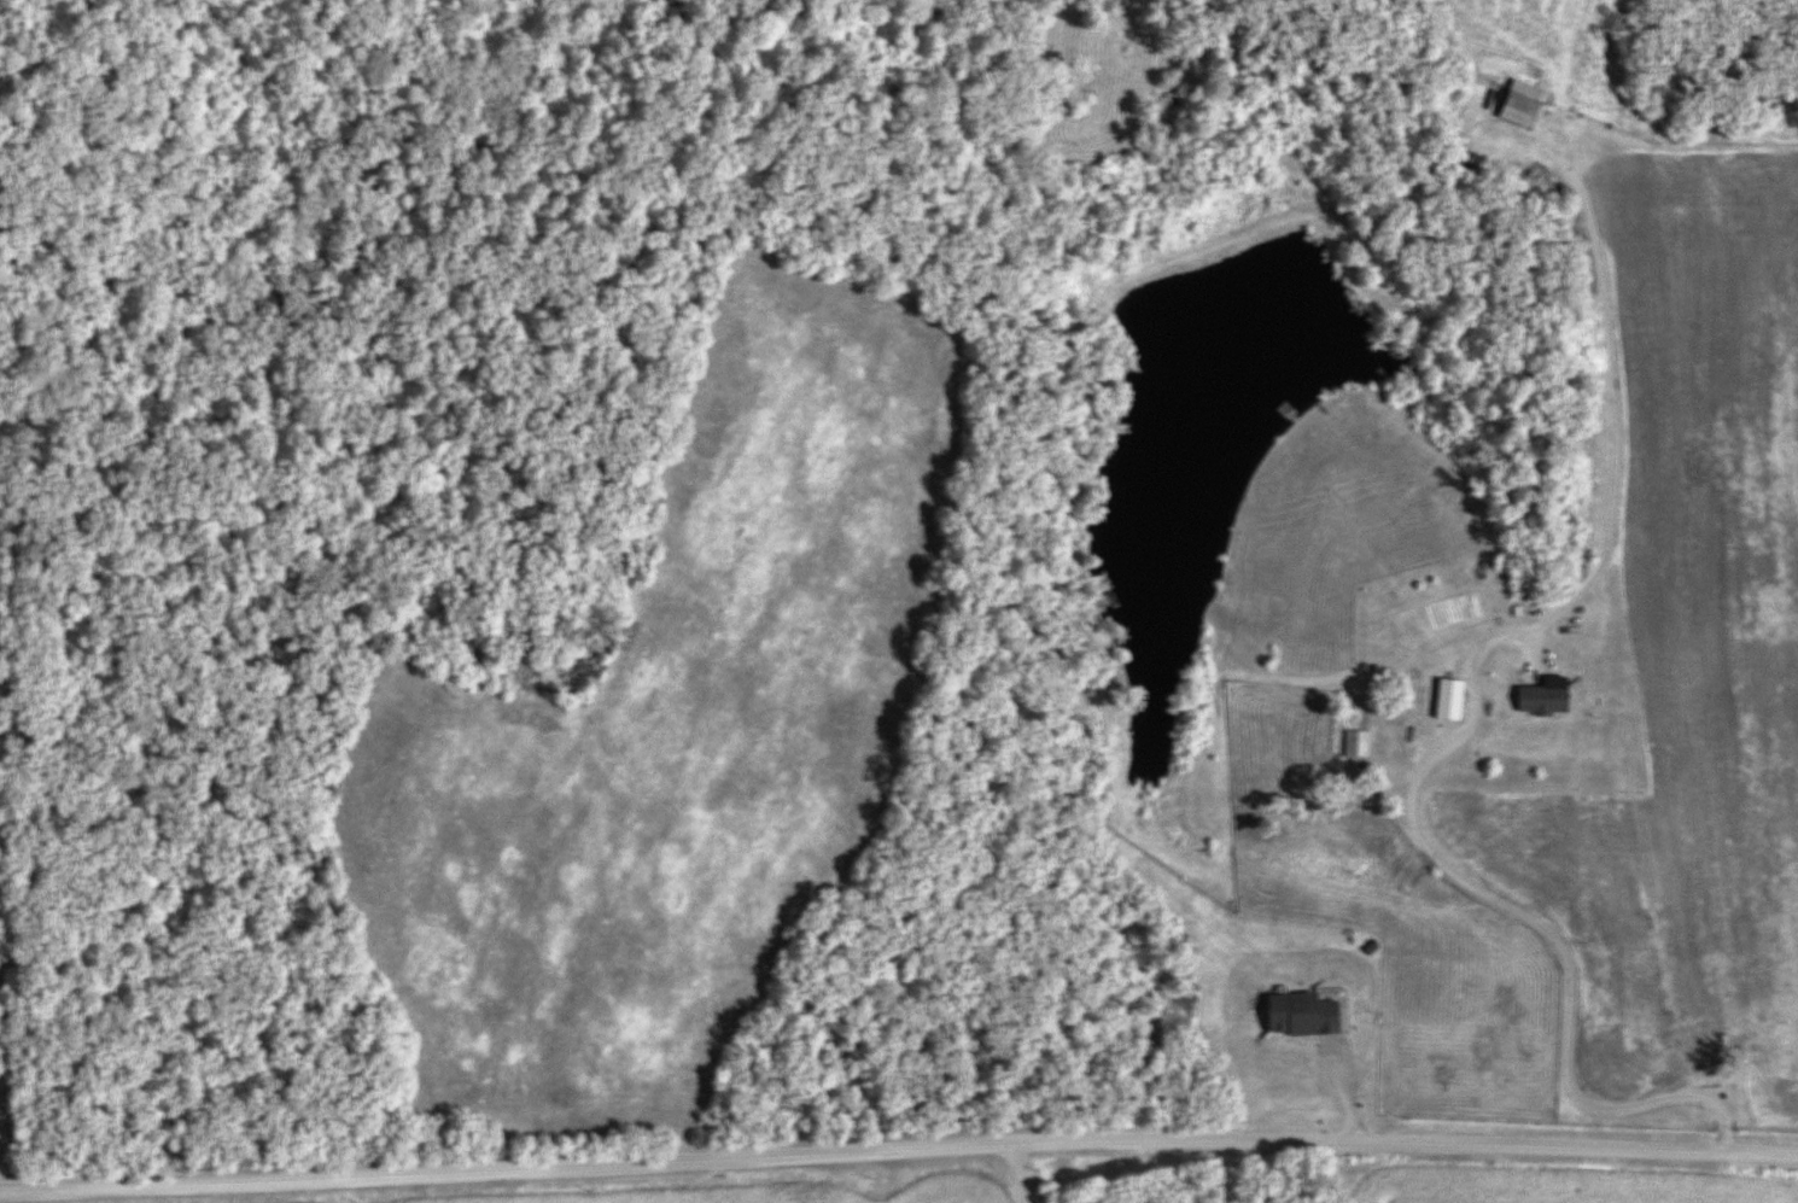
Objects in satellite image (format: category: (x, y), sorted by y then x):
building: (1512, 104)
building: (1535, 701)
building: (1443, 706)
building: (1353, 744)
road: (1506, 909)
building: (1295, 1016)
road: (898, 1154)
road: (1018, 1175)

